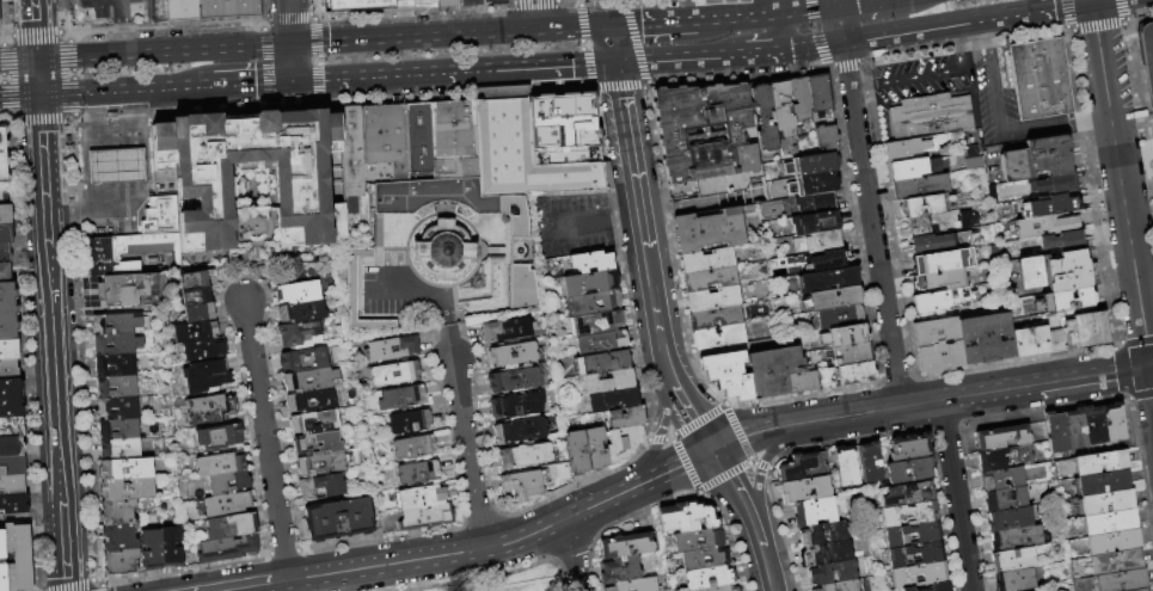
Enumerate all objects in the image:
building: (466, 0)
road: (1088, 0)
road: (1093, 0)
building: (490, 1)
traffic signals: (1090, 1)
building: (422, 2)
building: (444, 4)
road: (859, 4)
building: (354, 5)
road: (780, 7)
road: (1036, 8)
road: (121, 10)
parking lot: (112, 11)
building: (207, 11)
road: (808, 11)
road: (535, 14)
road: (737, 18)
road: (980, 18)
road: (404, 19)
flagpole: (1139, 19)
road: (289, 21)
road: (649, 24)
road: (839, 24)
traffic signals: (605, 26)
road: (33, 29)
road: (909, 30)
road: (783, 32)
road: (986, 33)
road: (447, 36)
road: (123, 37)
road: (608, 43)
road: (811, 44)
traffic signals: (290, 45)
road: (967, 47)
road: (763, 51)
road: (162, 53)
road: (677, 56)
road: (1099, 56)
building: (1147, 57)
road: (17, 60)
traffic signals: (36, 60)
traffic signals: (613, 61)
flagpole: (916, 61)
road: (292, 62)
road: (845, 64)
road: (453, 69)
road: (37, 76)
traffic signals: (293, 79)
road: (918, 79)
building: (1039, 79)
road: (247, 81)
road: (865, 87)
road: (119, 88)
building: (818, 93)
road: (18, 94)
traffic signals: (38, 94)
building: (799, 97)
road: (96, 104)
road: (136, 109)
building: (781, 115)
road: (1091, 115)
building: (763, 117)
building: (930, 117)
building: (560, 125)
road: (998, 125)
road: (97, 130)
road: (118, 131)
building: (707, 136)
building: (384, 137)
building: (417, 138)
building: (826, 138)
building: (453, 140)
building: (903, 149)
building: (521, 150)
building: (352, 152)
building: (970, 152)
road: (628, 154)
building: (1036, 159)
building: (973, 162)
building: (812, 165)
building: (115, 166)
building: (4, 168)
building: (908, 168)
road: (43, 183)
building: (302, 183)
building: (814, 184)
building: (1053, 184)
building: (919, 186)
building: (992, 195)
building: (447, 199)
road: (110, 203)
building: (816, 203)
building: (1056, 204)
building: (924, 205)
road: (61, 207)
building: (5, 214)
building: (160, 216)
road: (625, 217)
building: (967, 220)
road: (583, 222)
building: (815, 222)
parking lot: (572, 226)
building: (916, 226)
building: (1044, 227)
building: (709, 230)
building: (6, 234)
road: (1129, 240)
building: (1062, 241)
building: (818, 242)
building: (937, 244)
road: (875, 248)
building: (441, 251)
building: (124, 253)
building: (5, 254)
building: (706, 260)
building: (590, 261)
building: (827, 261)
building: (942, 261)
building: (5, 272)
building: (1054, 272)
building: (710, 278)
building: (827, 279)
building: (194, 281)
building: (936, 281)
building: (589, 283)
building: (521, 285)
building: (349, 288)
road: (397, 289)
building: (133, 290)
building: (298, 293)
building: (7, 294)
building: (196, 297)
building: (712, 298)
building: (832, 298)
road: (652, 300)
building: (942, 300)
building: (1063, 301)
building: (593, 302)
building: (301, 312)
building: (200, 313)
road: (442, 315)
building: (839, 316)
building: (715, 318)
building: (8, 319)
building: (597, 322)
building: (116, 325)
building: (505, 330)
building: (1084, 330)
building: (195, 332)
building: (298, 333)
building: (844, 335)
building: (718, 337)
building: (985, 339)
building: (1034, 340)
building: (600, 343)
building: (117, 344)
building: (936, 344)
building: (8, 346)
building: (392, 349)
building: (204, 350)
building: (511, 355)
building: (851, 355)
building: (303, 359)
building: (601, 363)
road: (664, 363)
building: (116, 365)
road: (1152, 367)
building: (8, 369)
building: (779, 373)
building: (394, 374)
building: (855, 374)
building: (726, 375)
building: (206, 376)
road: (1152, 376)
building: (516, 378)
building: (309, 380)
road: (670, 381)
building: (607, 382)
building: (117, 387)
road: (54, 392)
road: (973, 395)
building: (10, 398)
building: (401, 399)
building: (613, 399)
building: (311, 401)
building: (516, 405)
building: (118, 408)
building: (210, 410)
building: (623, 418)
road: (692, 418)
building: (314, 421)
building: (410, 423)
building: (1114, 423)
building: (1094, 425)
building: (11, 427)
building: (119, 430)
building: (520, 430)
building: (1075, 430)
road: (661, 432)
road: (753, 432)
building: (1056, 432)
building: (219, 437)
building: (1002, 437)
road: (265, 441)
building: (318, 443)
building: (621, 443)
building: (12, 447)
building: (412, 448)
building: (594, 448)
building: (121, 449)
traffic signals: (713, 450)
road: (466, 453)
building: (575, 453)
building: (525, 455)
building: (1006, 458)
building: (910, 460)
building: (871, 462)
building: (1102, 463)
building: (321, 464)
building: (12, 466)
building: (220, 466)
road: (675, 467)
building: (803, 467)
building: (846, 467)
building: (127, 469)
road: (759, 469)
building: (417, 473)
building: (1004, 479)
building: (228, 484)
building: (1103, 484)
building: (12, 485)
building: (522, 485)
building: (320, 487)
road: (737, 487)
building: (128, 490)
building: (805, 490)
building: (906, 494)
road: (955, 495)
building: (422, 498)
building: (1006, 500)
building: (1106, 503)
building: (13, 504)
building: (227, 505)
building: (118, 512)
building: (814, 512)
building: (909, 515)
building: (427, 517)
building: (700, 517)
building: (674, 518)
building: (337, 519)
building: (1010, 519)
building: (1111, 522)
building: (231, 527)
building: (823, 534)
building: (913, 535)
road: (759, 536)
building: (119, 537)
building: (1017, 538)
building: (699, 541)
building: (1114, 542)
building: (628, 546)
building: (172, 547)
building: (227, 549)
road: (63, 550)
building: (151, 550)
road: (468, 552)
building: (828, 553)
road: (572, 554)
building: (916, 555)
building: (18, 558)
road: (766, 559)
building: (705, 560)
building: (1013, 560)
building: (2, 562)
building: (1115, 562)
building: (121, 564)
building: (620, 571)
road: (461, 572)
building: (834, 573)
building: (919, 575)
building: (710, 579)
building: (1016, 580)
road: (280, 581)
park: (516, 581)
building: (1122, 581)
road: (771, 583)
building: (636, 585)
road: (76, 586)
building: (841, 586)
road: (249, 587)
building: (939, 587)
road: (103, 589)
building: (723, 589)
building: (907, 589)
building: (1143, 590)

